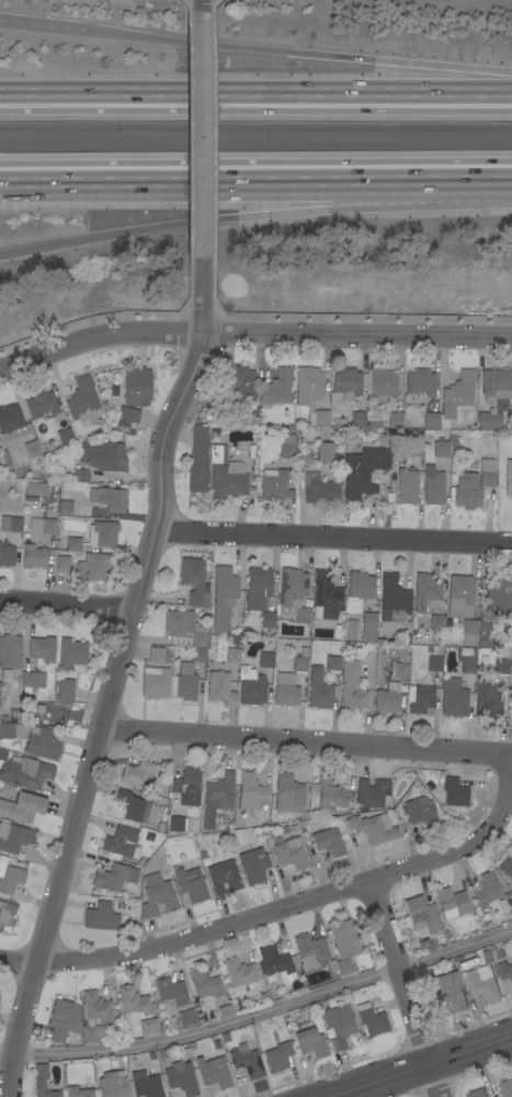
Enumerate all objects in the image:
road: (204, 8)
road: (44, 27)
road: (299, 52)
road: (255, 90)
railway: (255, 128)
road: (204, 138)
railway: (255, 144)
road: (255, 172)
road: (247, 186)
road: (254, 217)
traffic signals: (105, 237)
road: (252, 338)
building: (420, 382)
building: (496, 383)
building: (239, 384)
building: (346, 384)
building: (309, 385)
building: (382, 385)
building: (136, 386)
building: (276, 387)
building: (456, 396)
building: (82, 400)
building: (41, 404)
building: (128, 417)
building: (318, 418)
building: (357, 419)
building: (395, 420)
building: (431, 420)
building: (488, 420)
building: (12, 423)
building: (374, 423)
building: (65, 437)
building: (452, 437)
building: (356, 445)
building: (414, 448)
building: (32, 449)
building: (441, 449)
building: (286, 450)
building: (325, 452)
building: (217, 454)
building: (103, 455)
building: (197, 460)
building: (410, 467)
building: (362, 473)
building: (487, 473)
building: (80, 475)
building: (389, 476)
building: (508, 478)
building: (227, 482)
building: (274, 485)
building: (433, 486)
building: (406, 487)
building: (34, 488)
building: (320, 491)
building: (467, 491)
building: (109, 499)
building: (64, 505)
building: (10, 523)
building: (42, 525)
building: (102, 534)
road: (334, 536)
building: (72, 544)
building: (7, 555)
building: (34, 556)
building: (62, 563)
building: (92, 567)
building: (194, 581)
building: (360, 586)
building: (258, 588)
building: (426, 592)
building: (294, 595)
building: (325, 597)
building: (460, 597)
building: (224, 598)
building: (394, 598)
building: (499, 598)
road: (67, 604)
building: (365, 609)
building: (268, 620)
building: (436, 623)
building: (185, 626)
building: (368, 626)
building: (469, 632)
building: (486, 633)
building: (235, 640)
building: (439, 642)
building: (42, 648)
building: (303, 651)
building: (10, 652)
building: (71, 655)
building: (156, 655)
building: (198, 655)
building: (232, 656)
building: (265, 659)
building: (466, 659)
building: (511, 663)
building: (333, 664)
building: (434, 664)
building: (299, 665)
building: (501, 666)
building: (400, 670)
building: (5, 675)
road: (114, 678)
building: (32, 680)
building: (155, 682)
building: (186, 682)
building: (0, 687)
building: (218, 687)
building: (351, 688)
building: (285, 690)
building: (319, 690)
building: (64, 691)
building: (252, 691)
building: (511, 695)
building: (453, 698)
building: (388, 699)
building: (487, 699)
building: (420, 700)
building: (38, 709)
building: (12, 713)
building: (32, 720)
building: (511, 721)
building: (7, 731)
building: (42, 744)
road: (305, 745)
building: (2, 755)
building: (424, 772)
building: (26, 773)
building: (137, 774)
building: (186, 787)
building: (454, 792)
building: (371, 794)
building: (250, 795)
building: (329, 795)
building: (289, 796)
building: (217, 798)
building: (22, 807)
building: (137, 807)
building: (185, 810)
building: (420, 812)
building: (183, 825)
building: (160, 827)
building: (285, 827)
building: (293, 827)
building: (373, 828)
building: (144, 835)
building: (14, 837)
building: (328, 841)
building: (122, 842)
building: (184, 842)
building: (291, 853)
building: (140, 860)
building: (205, 860)
building: (253, 866)
building: (505, 867)
building: (190, 871)
building: (114, 877)
building: (224, 878)
building: (10, 879)
building: (189, 889)
building: (487, 890)
building: (511, 890)
building: (511, 894)
building: (157, 896)
building: (452, 901)
building: (118, 905)
building: (5, 912)
road: (273, 915)
building: (422, 915)
building: (447, 915)
building: (100, 917)
building: (447, 932)
building: (344, 939)
building: (491, 947)
building: (309, 950)
building: (486, 957)
building: (457, 958)
building: (276, 963)
building: (340, 965)
building: (504, 971)
building: (238, 972)
building: (270, 979)
building: (482, 983)
building: (204, 984)
building: (170, 991)
road: (402, 991)
building: (447, 994)
building: (263, 997)
building: (253, 999)
building: (330, 1003)
building: (94, 1007)
building: (137, 1009)
building: (225, 1010)
road: (259, 1014)
building: (186, 1017)
building: (64, 1020)
building: (371, 1020)
building: (301, 1025)
building: (338, 1026)
building: (92, 1033)
building: (225, 1037)
building: (310, 1042)
building: (192, 1045)
building: (216, 1045)
building: (277, 1056)
building: (247, 1062)
road: (420, 1066)
building: (213, 1073)
building: (181, 1078)
building: (43, 1083)
building: (112, 1085)
building: (146, 1085)
building: (505, 1088)
building: (78, 1092)
building: (478, 1094)
building: (493, 1096)
building: (496, 1096)

